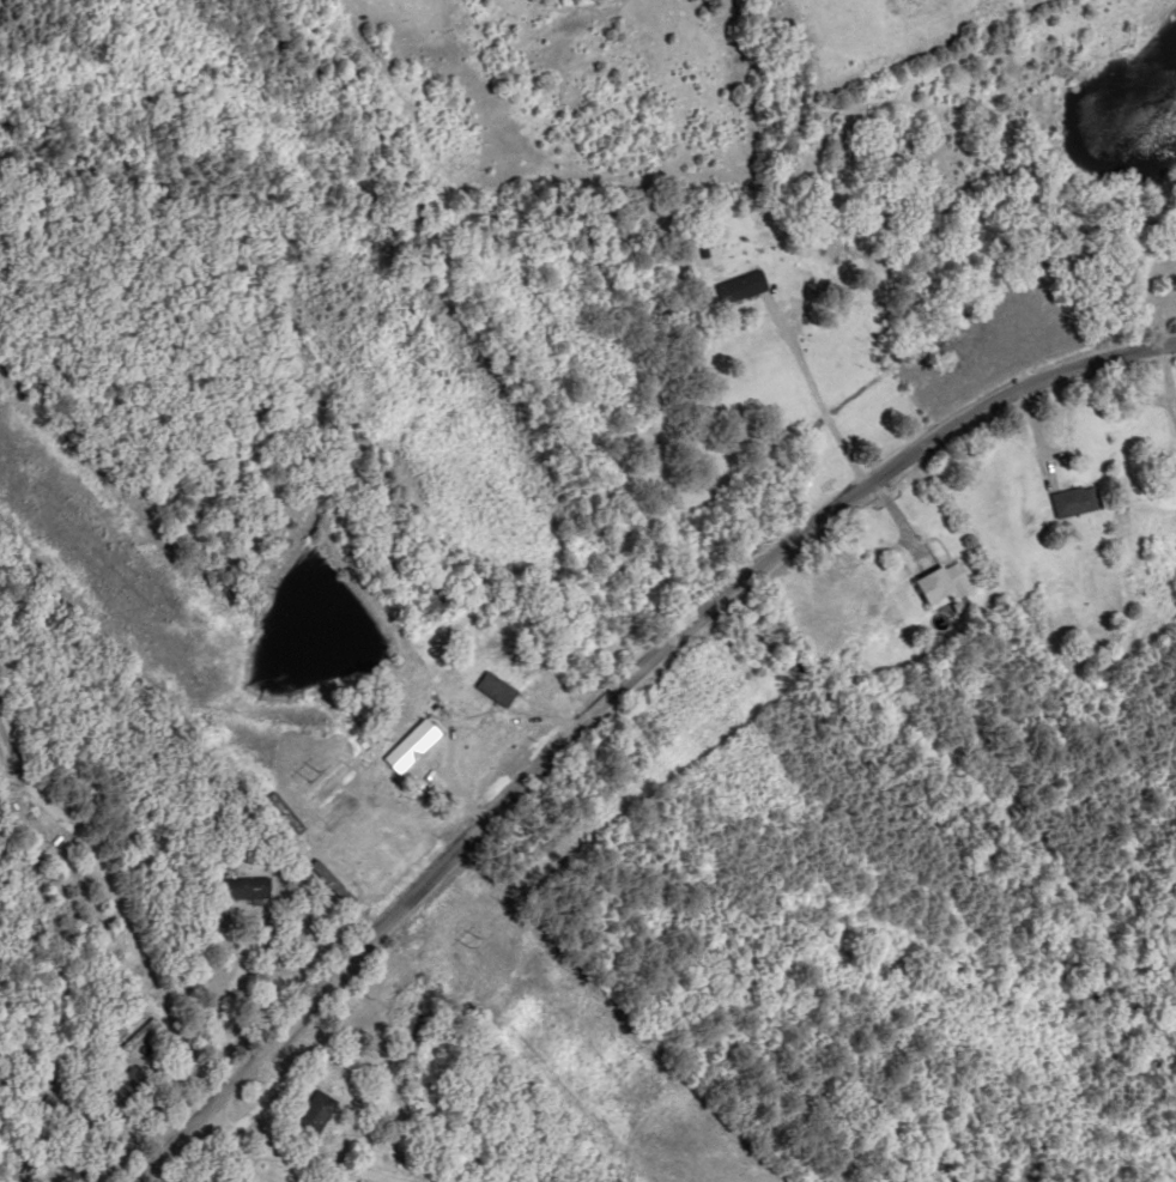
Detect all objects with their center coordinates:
building: (744, 285)
building: (1079, 499)
building: (947, 581)
road: (637, 698)
building: (247, 889)
building: (31, 897)
building: (122, 1093)
road: (387, 1102)
building: (317, 1113)
building: (68, 1169)

